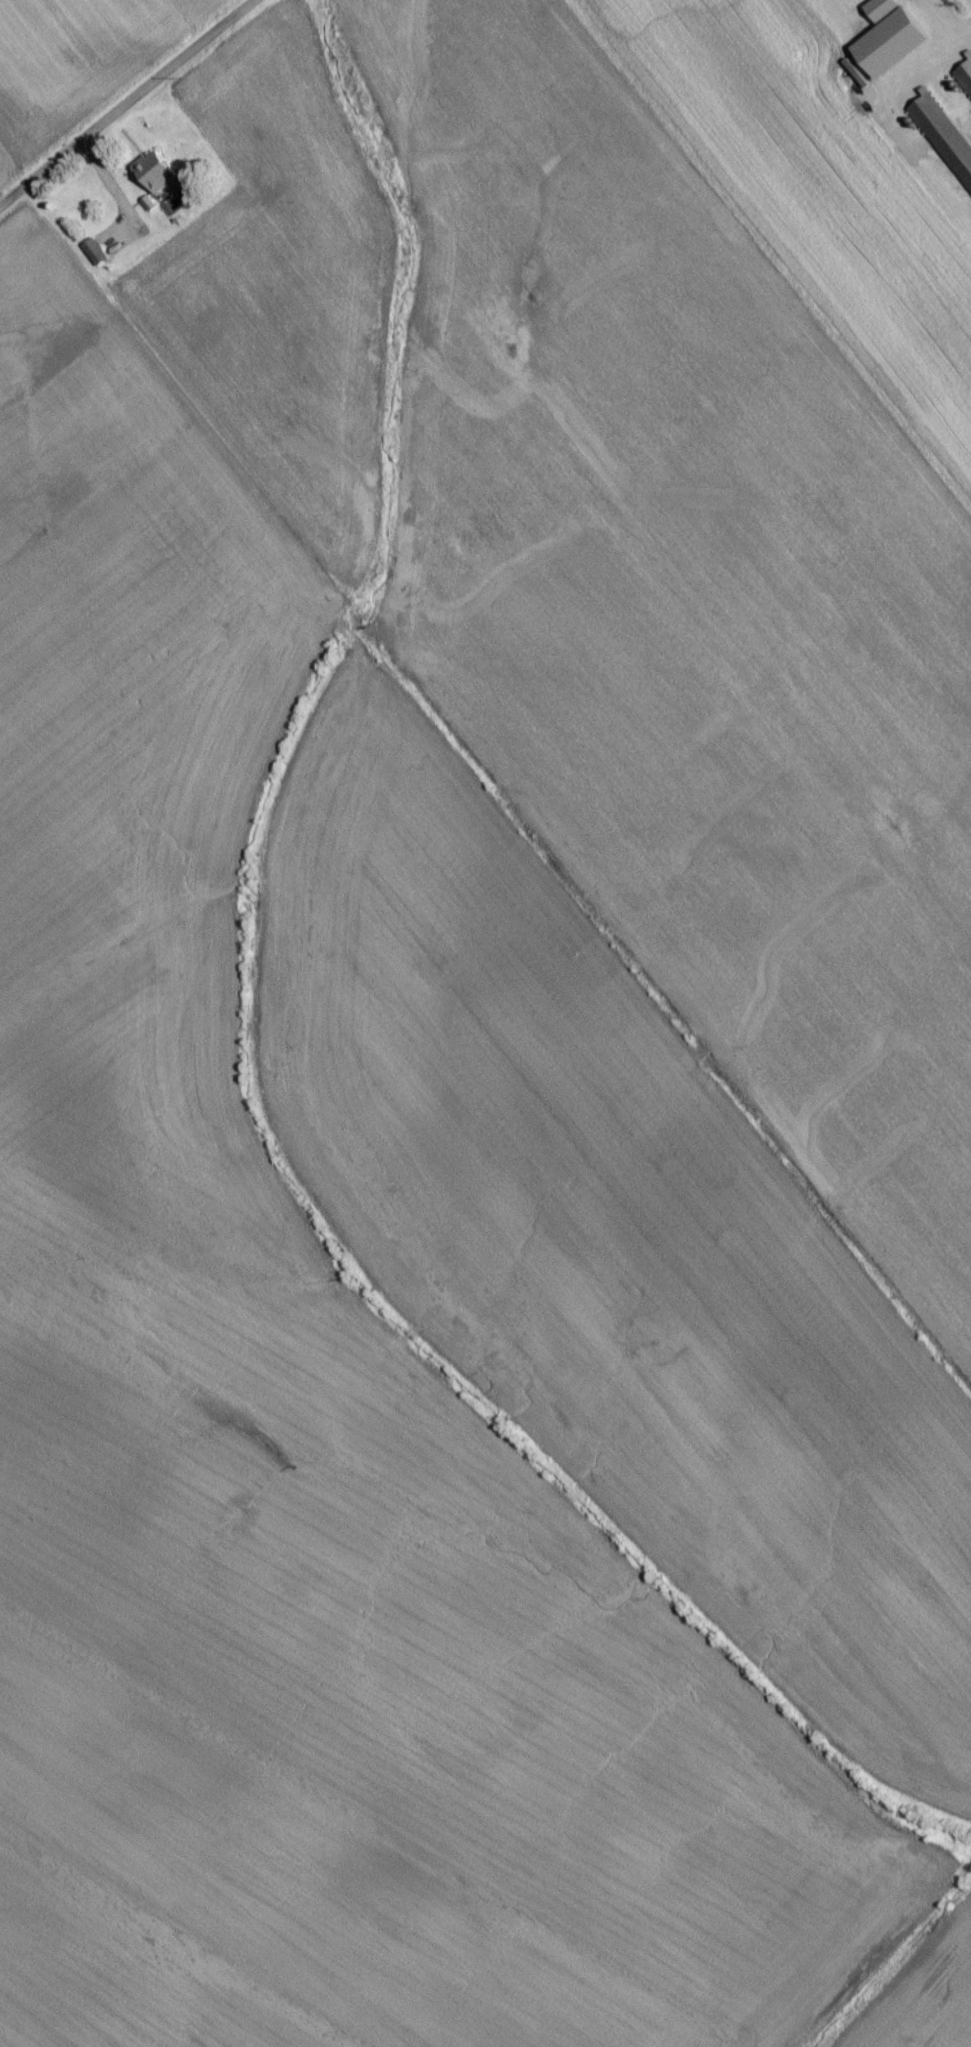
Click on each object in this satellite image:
road: (938, 18)
building: (966, 77)
road: (127, 103)
building: (945, 138)
building: (157, 176)
building: (95, 257)

